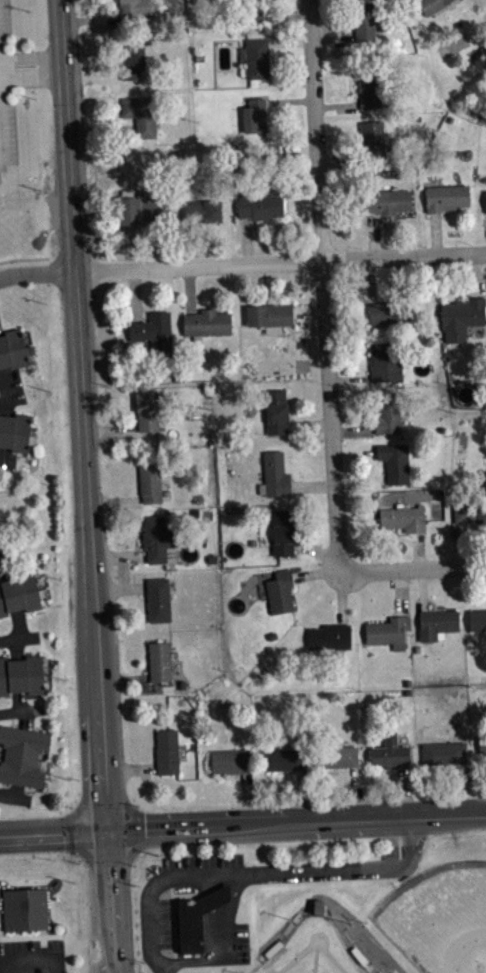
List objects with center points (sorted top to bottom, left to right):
building: (431, 6)
building: (253, 11)
building: (134, 13)
road: (287, 13)
road: (90, 18)
building: (364, 24)
road: (289, 41)
road: (333, 41)
building: (255, 57)
building: (132, 61)
road: (32, 67)
road: (93, 75)
building: (368, 88)
parking lot: (6, 92)
road: (289, 99)
road: (336, 104)
building: (140, 114)
building: (254, 115)
road: (102, 130)
building: (372, 139)
road: (339, 154)
building: (446, 196)
building: (485, 199)
building: (387, 200)
building: (260, 206)
building: (138, 210)
building: (200, 211)
road: (435, 233)
road: (374, 234)
road: (246, 240)
road: (184, 243)
road: (129, 245)
road: (23, 257)
road: (281, 261)
road: (38, 270)
road: (475, 274)
road: (370, 279)
road: (323, 286)
road: (189, 288)
road: (134, 293)
building: (388, 310)
road: (308, 311)
building: (269, 312)
building: (460, 316)
building: (206, 320)
building: (154, 331)
building: (14, 348)
building: (384, 360)
road: (350, 377)
road: (2, 389)
road: (11, 394)
building: (147, 410)
building: (276, 410)
building: (387, 412)
road: (310, 424)
road: (111, 427)
road: (353, 428)
building: (15, 430)
road: (354, 451)
road: (1, 453)
building: (394, 460)
road: (6, 462)
building: (275, 472)
building: (150, 481)
road: (312, 485)
road: (87, 486)
road: (115, 498)
building: (469, 510)
building: (403, 517)
building: (282, 531)
building: (156, 537)
road: (460, 543)
road: (417, 549)
road: (8, 551)
road: (320, 551)
road: (118, 554)
road: (7, 565)
road: (412, 568)
road: (122, 570)
road: (315, 571)
road: (119, 586)
road: (421, 589)
building: (279, 590)
road: (400, 591)
building: (19, 592)
road: (342, 596)
building: (158, 598)
building: (477, 618)
road: (18, 622)
building: (436, 622)
building: (387, 630)
building: (329, 636)
road: (18, 637)
road: (15, 648)
building: (159, 659)
building: (21, 674)
road: (123, 677)
road: (22, 709)
road: (20, 711)
building: (481, 742)
building: (166, 751)
building: (389, 751)
building: (443, 751)
building: (22, 754)
building: (335, 754)
building: (281, 757)
building: (228, 759)
building: (348, 762)
road: (128, 767)
road: (462, 789)
road: (15, 790)
road: (352, 792)
road: (403, 792)
road: (301, 795)
road: (14, 798)
road: (243, 798)
road: (243, 825)
traffic signals: (104, 829)
road: (253, 873)
building: (317, 904)
building: (24, 908)
park: (441, 916)
building: (195, 917)
road: (220, 939)
park: (313, 950)
parking lot: (31, 955)
road: (30, 958)

